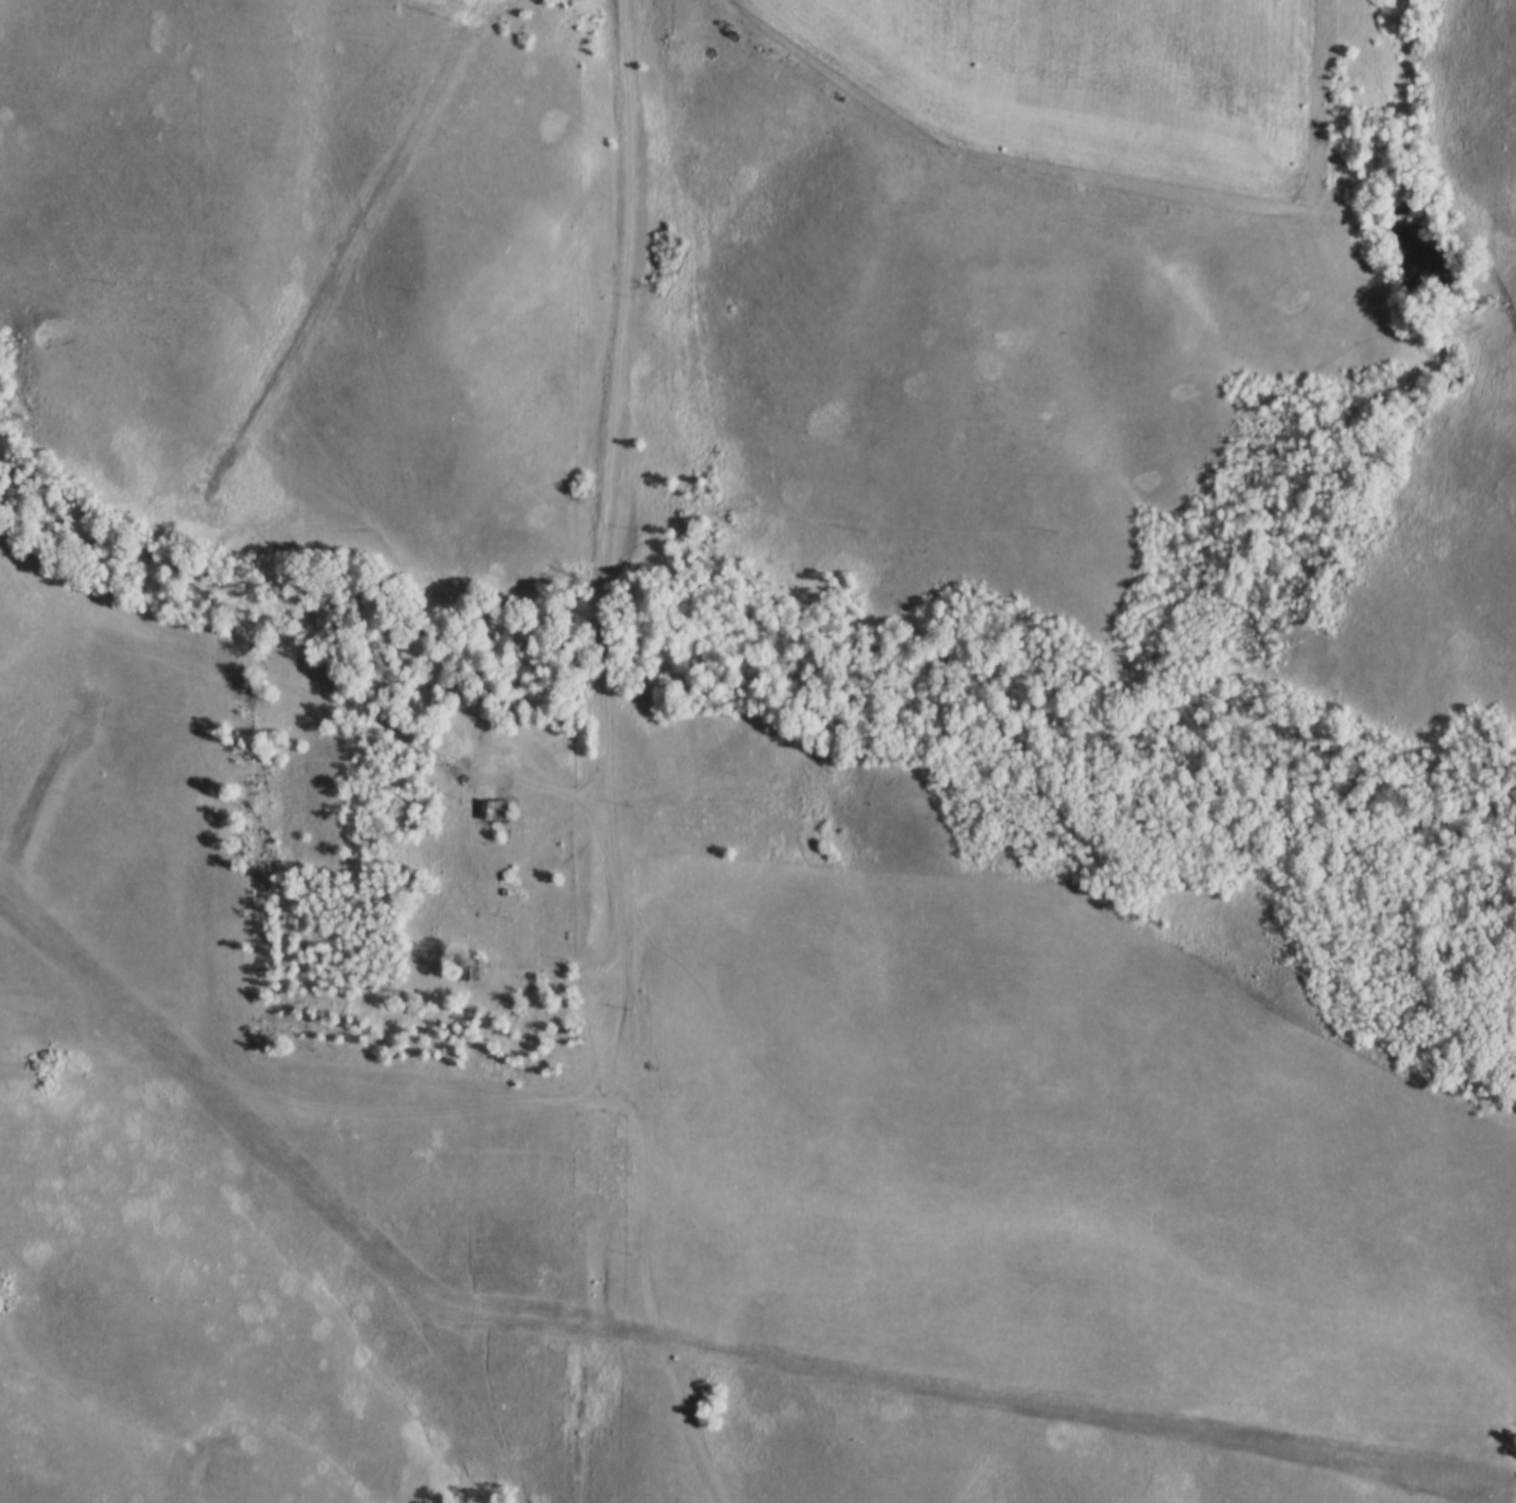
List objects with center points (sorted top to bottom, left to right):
road: (622, 26)
building: (646, 691)
building: (493, 813)

